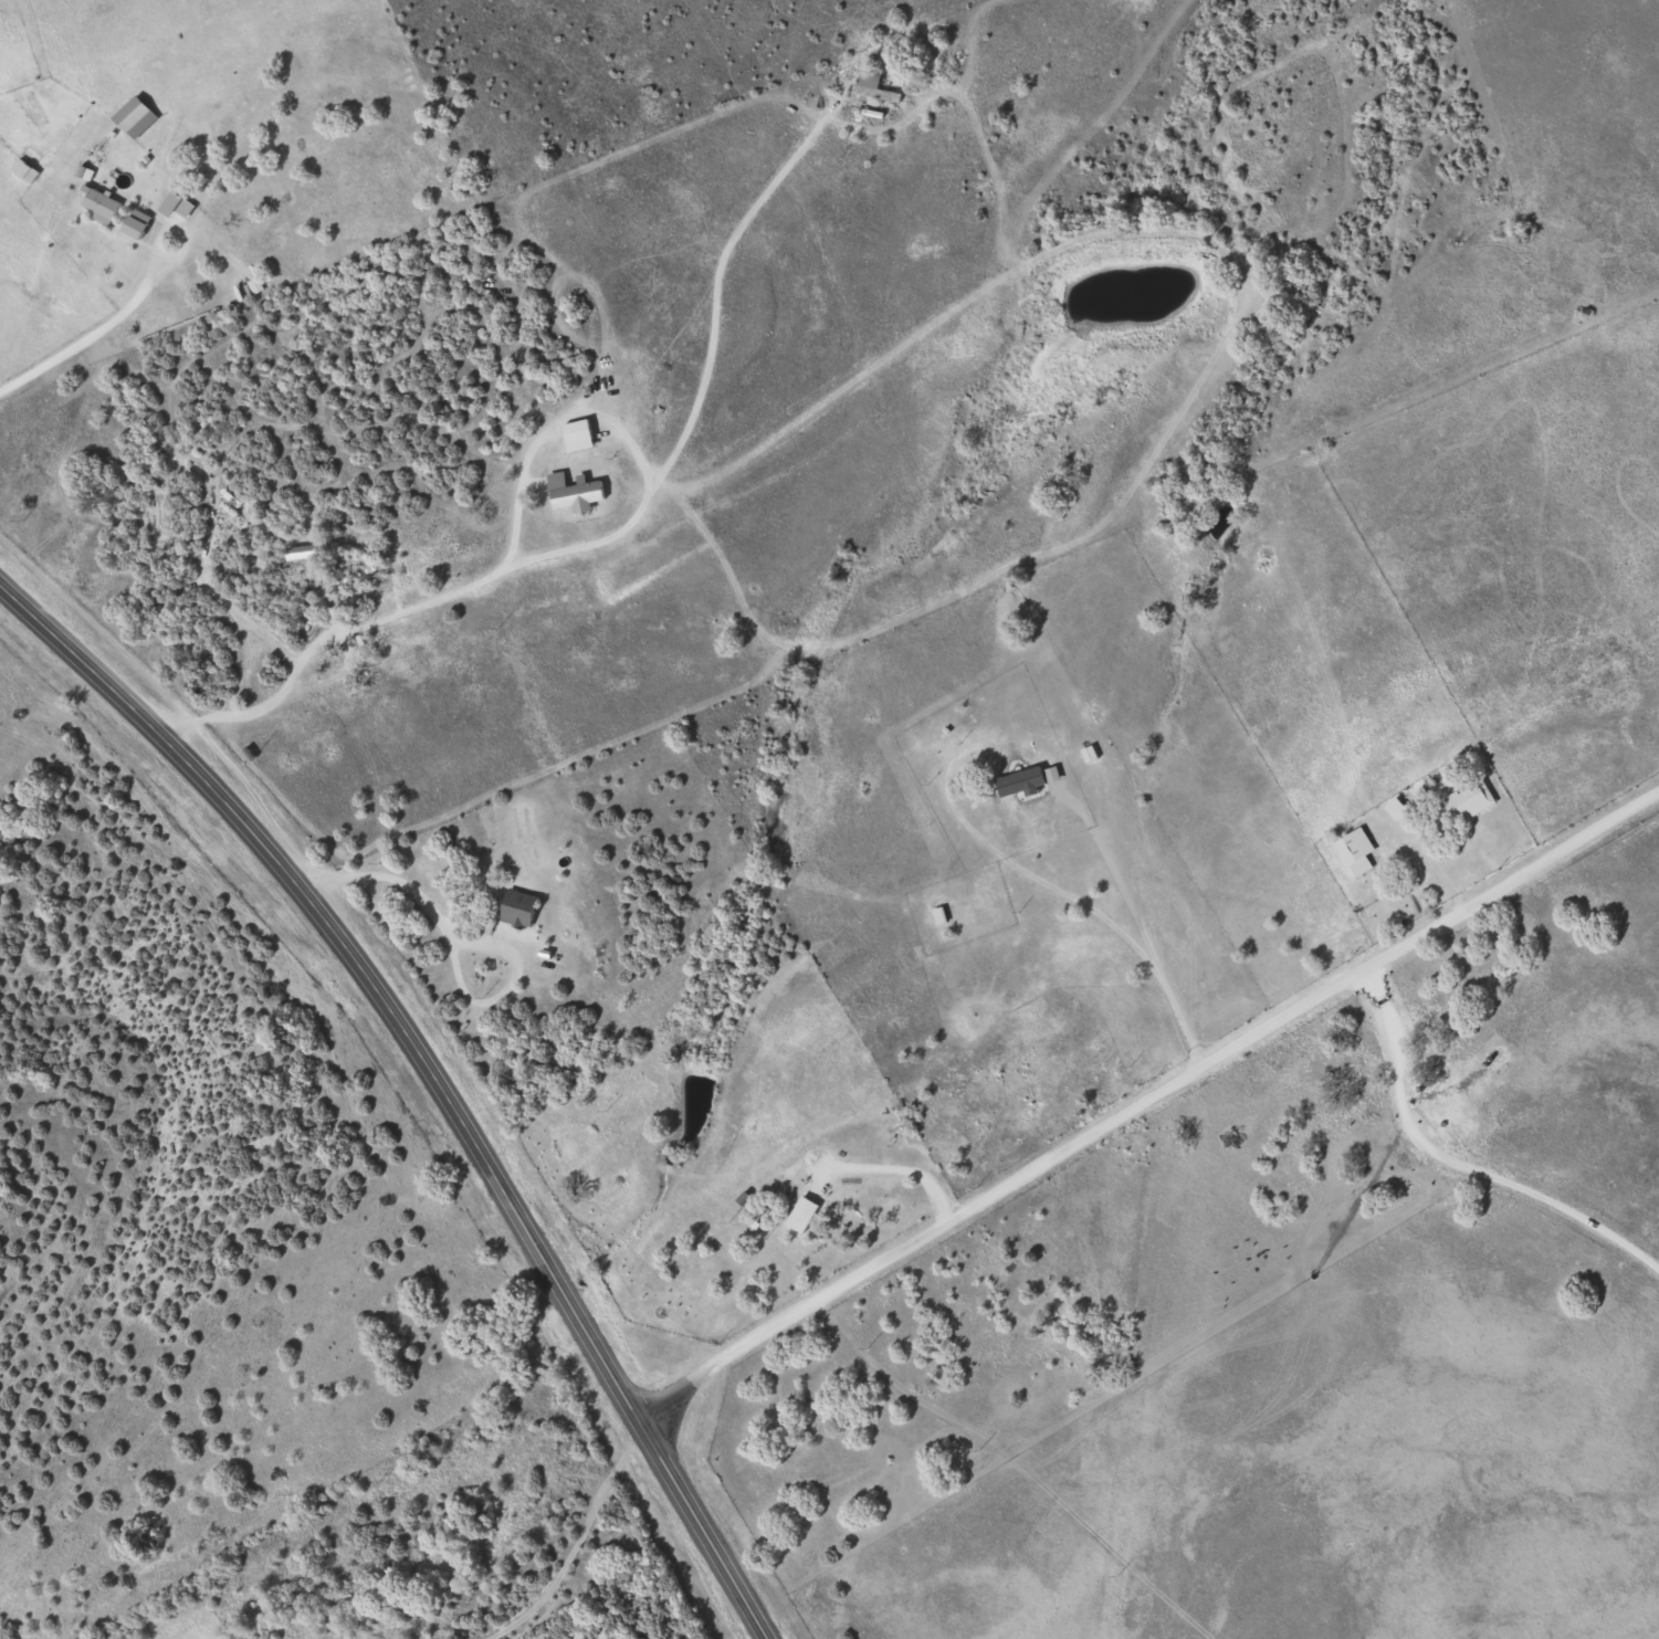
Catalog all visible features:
building: (869, 84)
building: (132, 115)
building: (97, 202)
building: (134, 222)
building: (575, 433)
building: (308, 554)
building: (1012, 780)
building: (1463, 800)
building: (1352, 849)
building: (515, 907)
building: (943, 912)
road: (433, 1073)
road: (1149, 1106)

